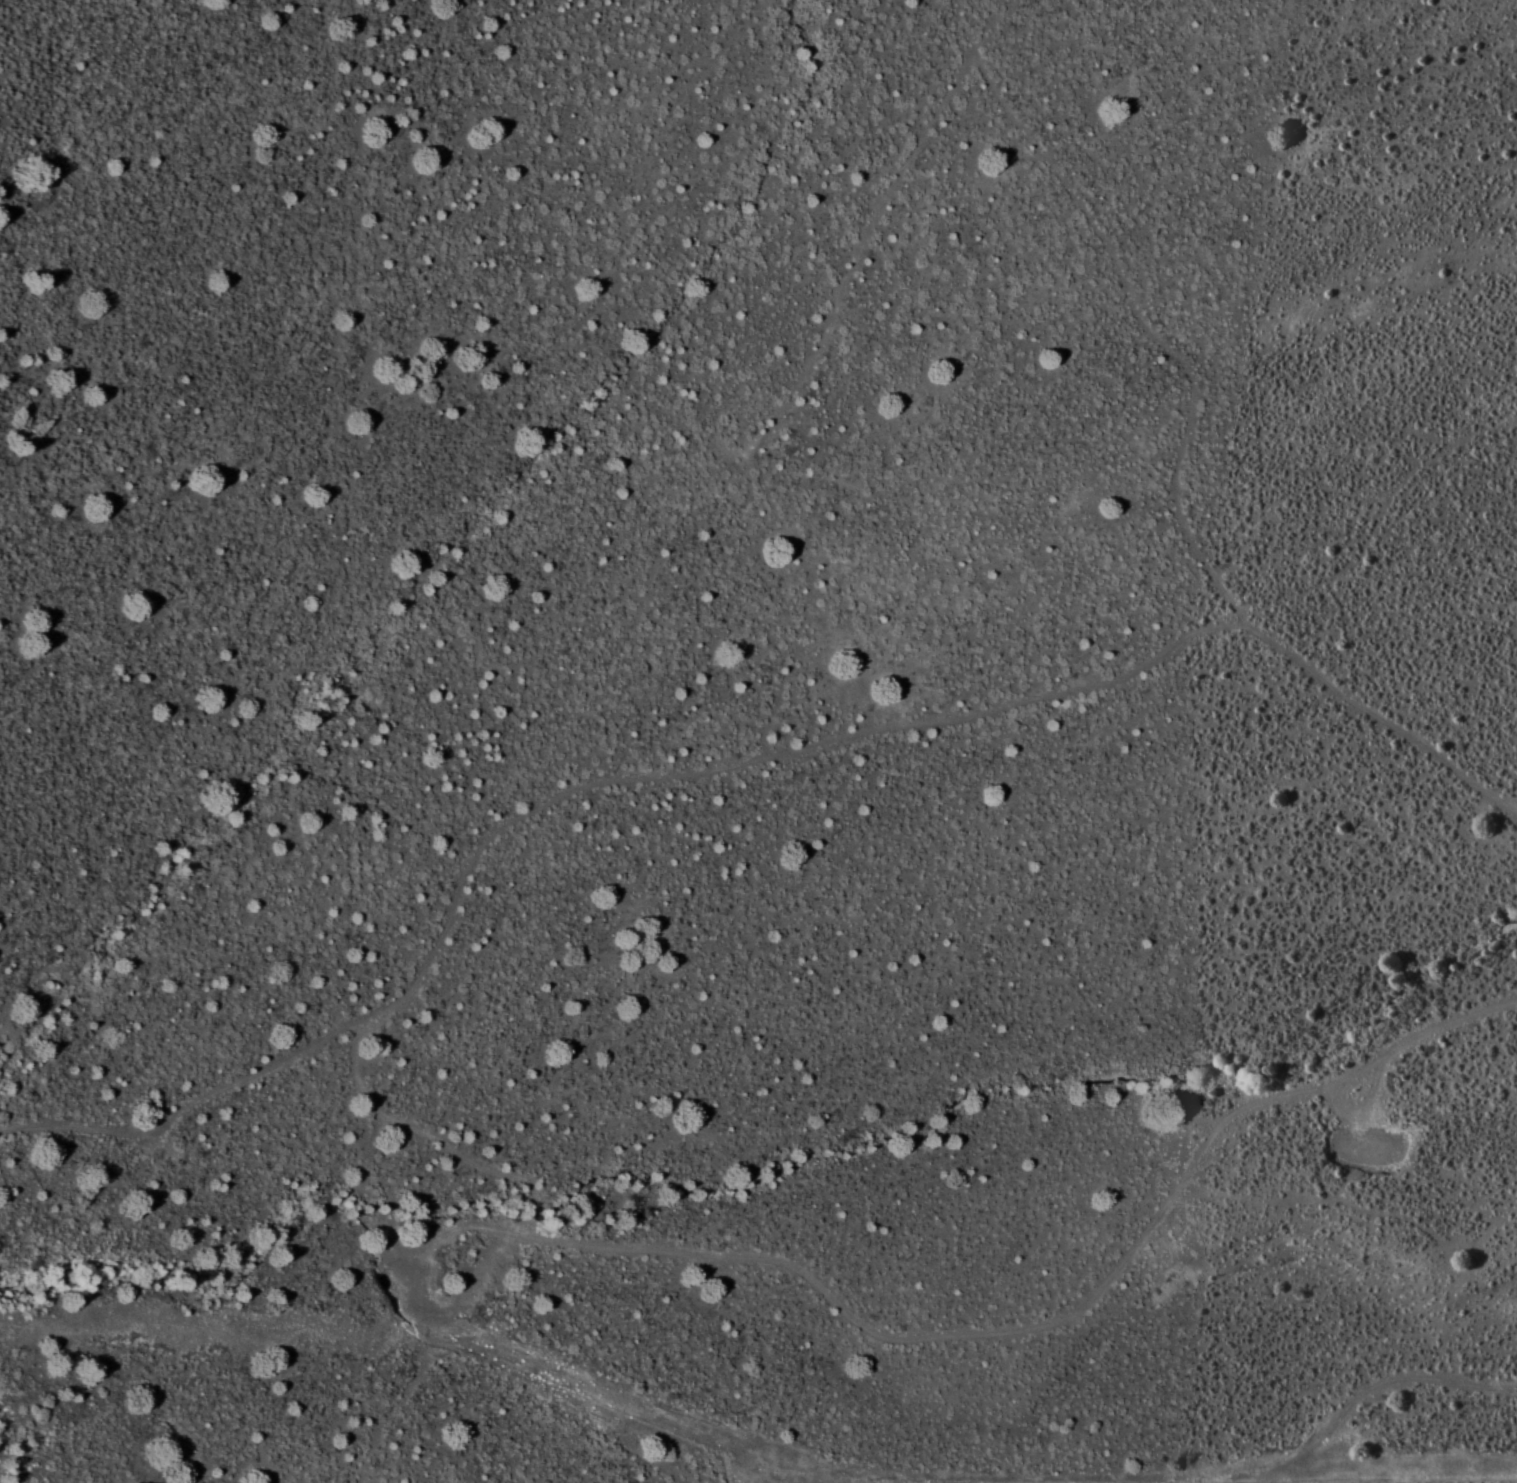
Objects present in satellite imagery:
road: (1133, 305)
road: (730, 769)
road: (1370, 1385)

